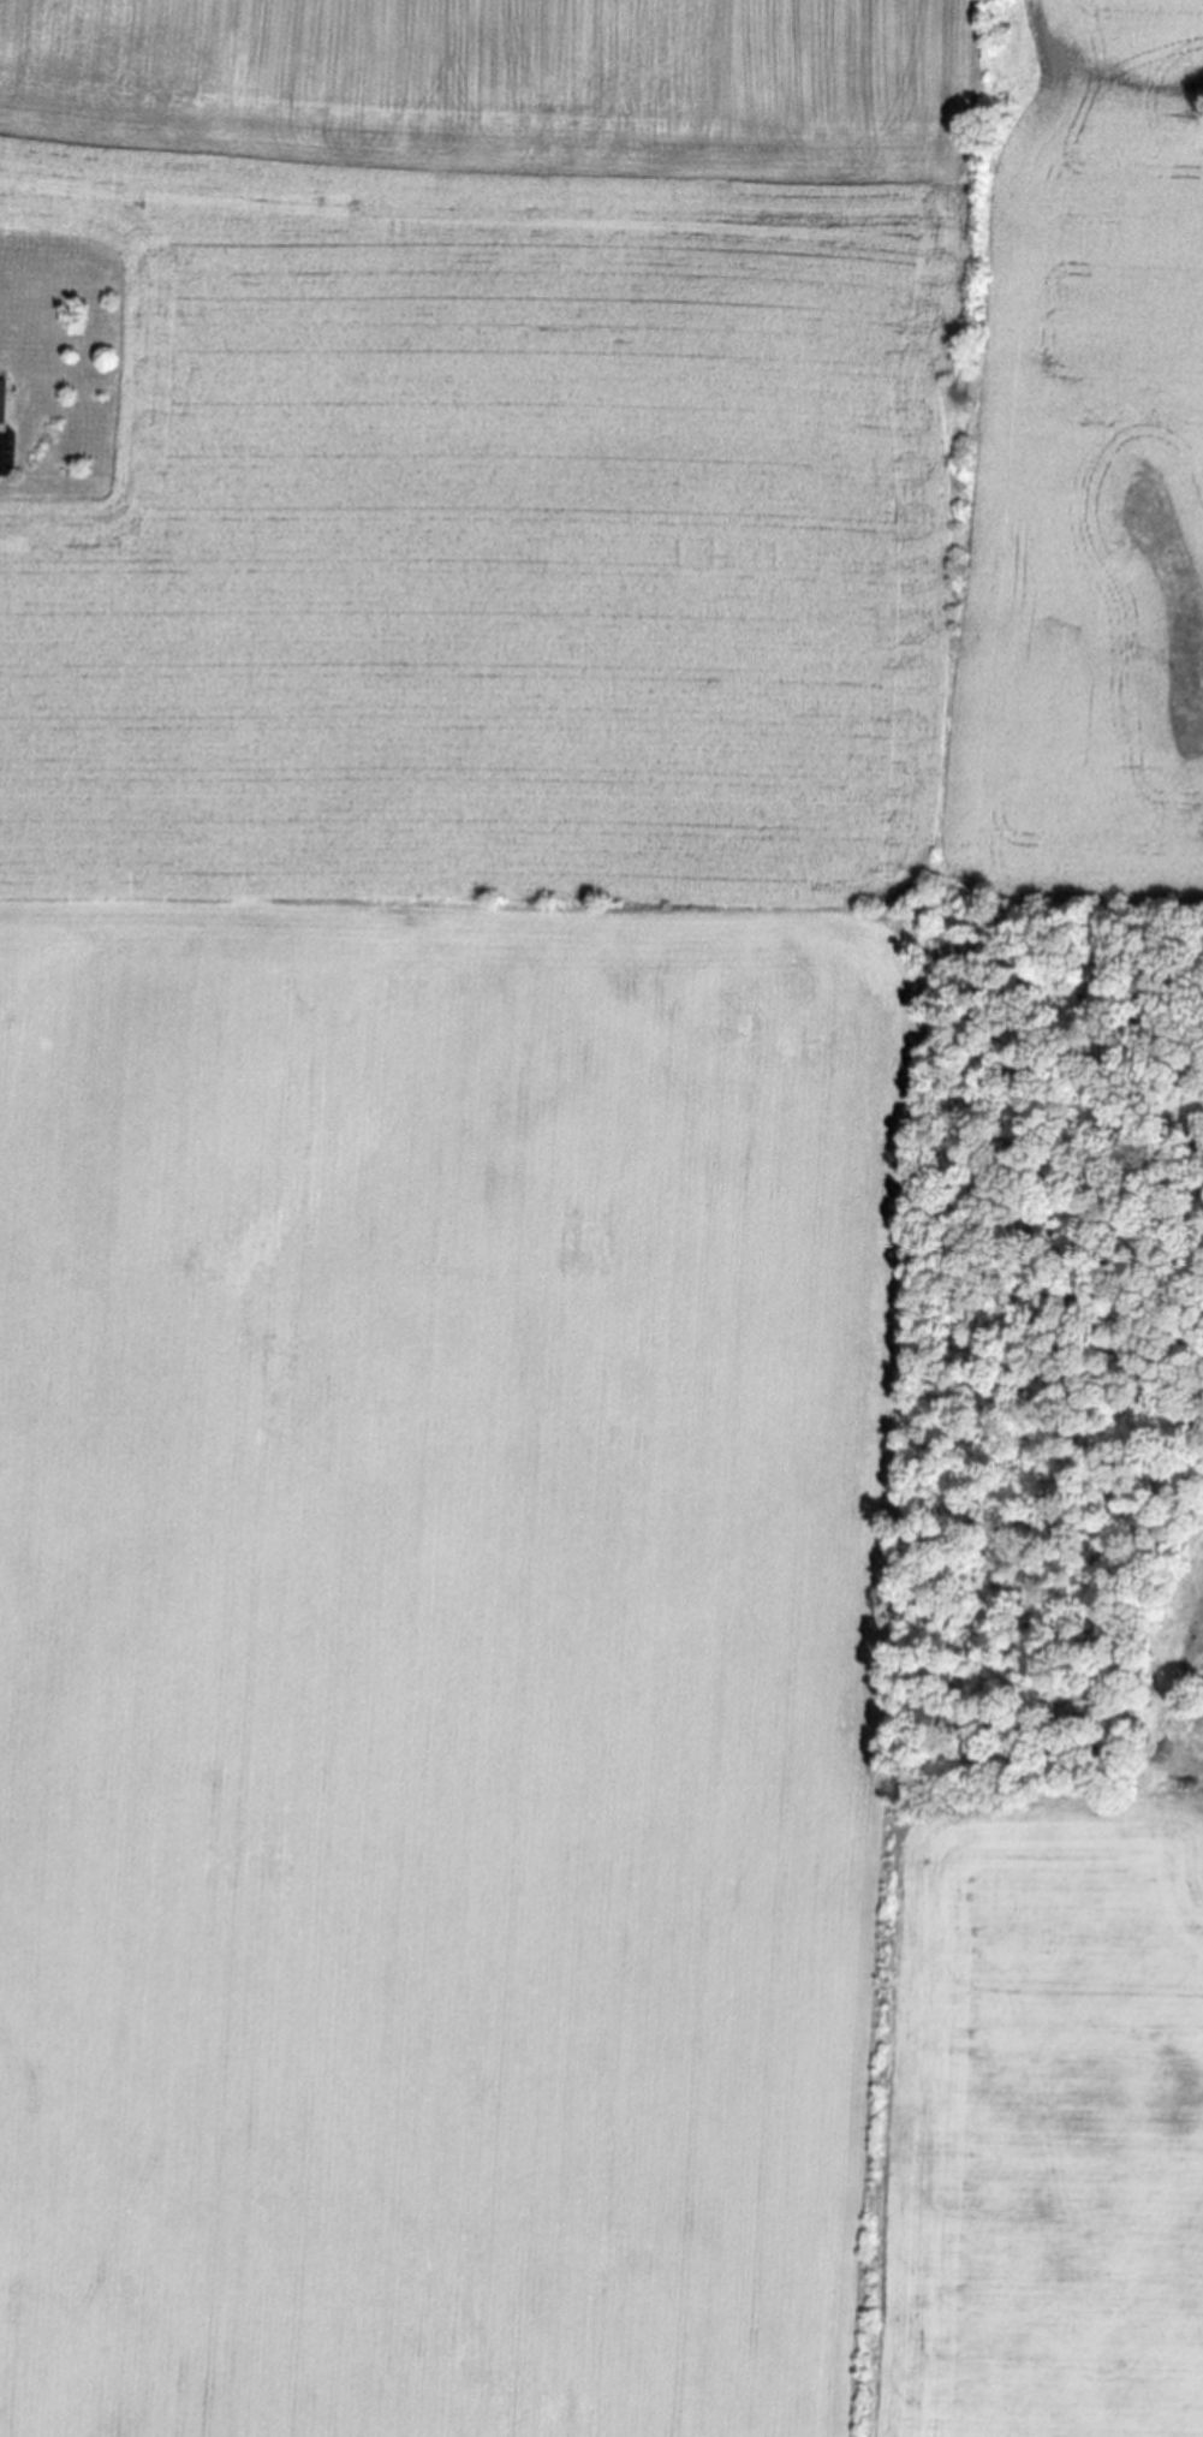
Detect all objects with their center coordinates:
building: (2, 402)

